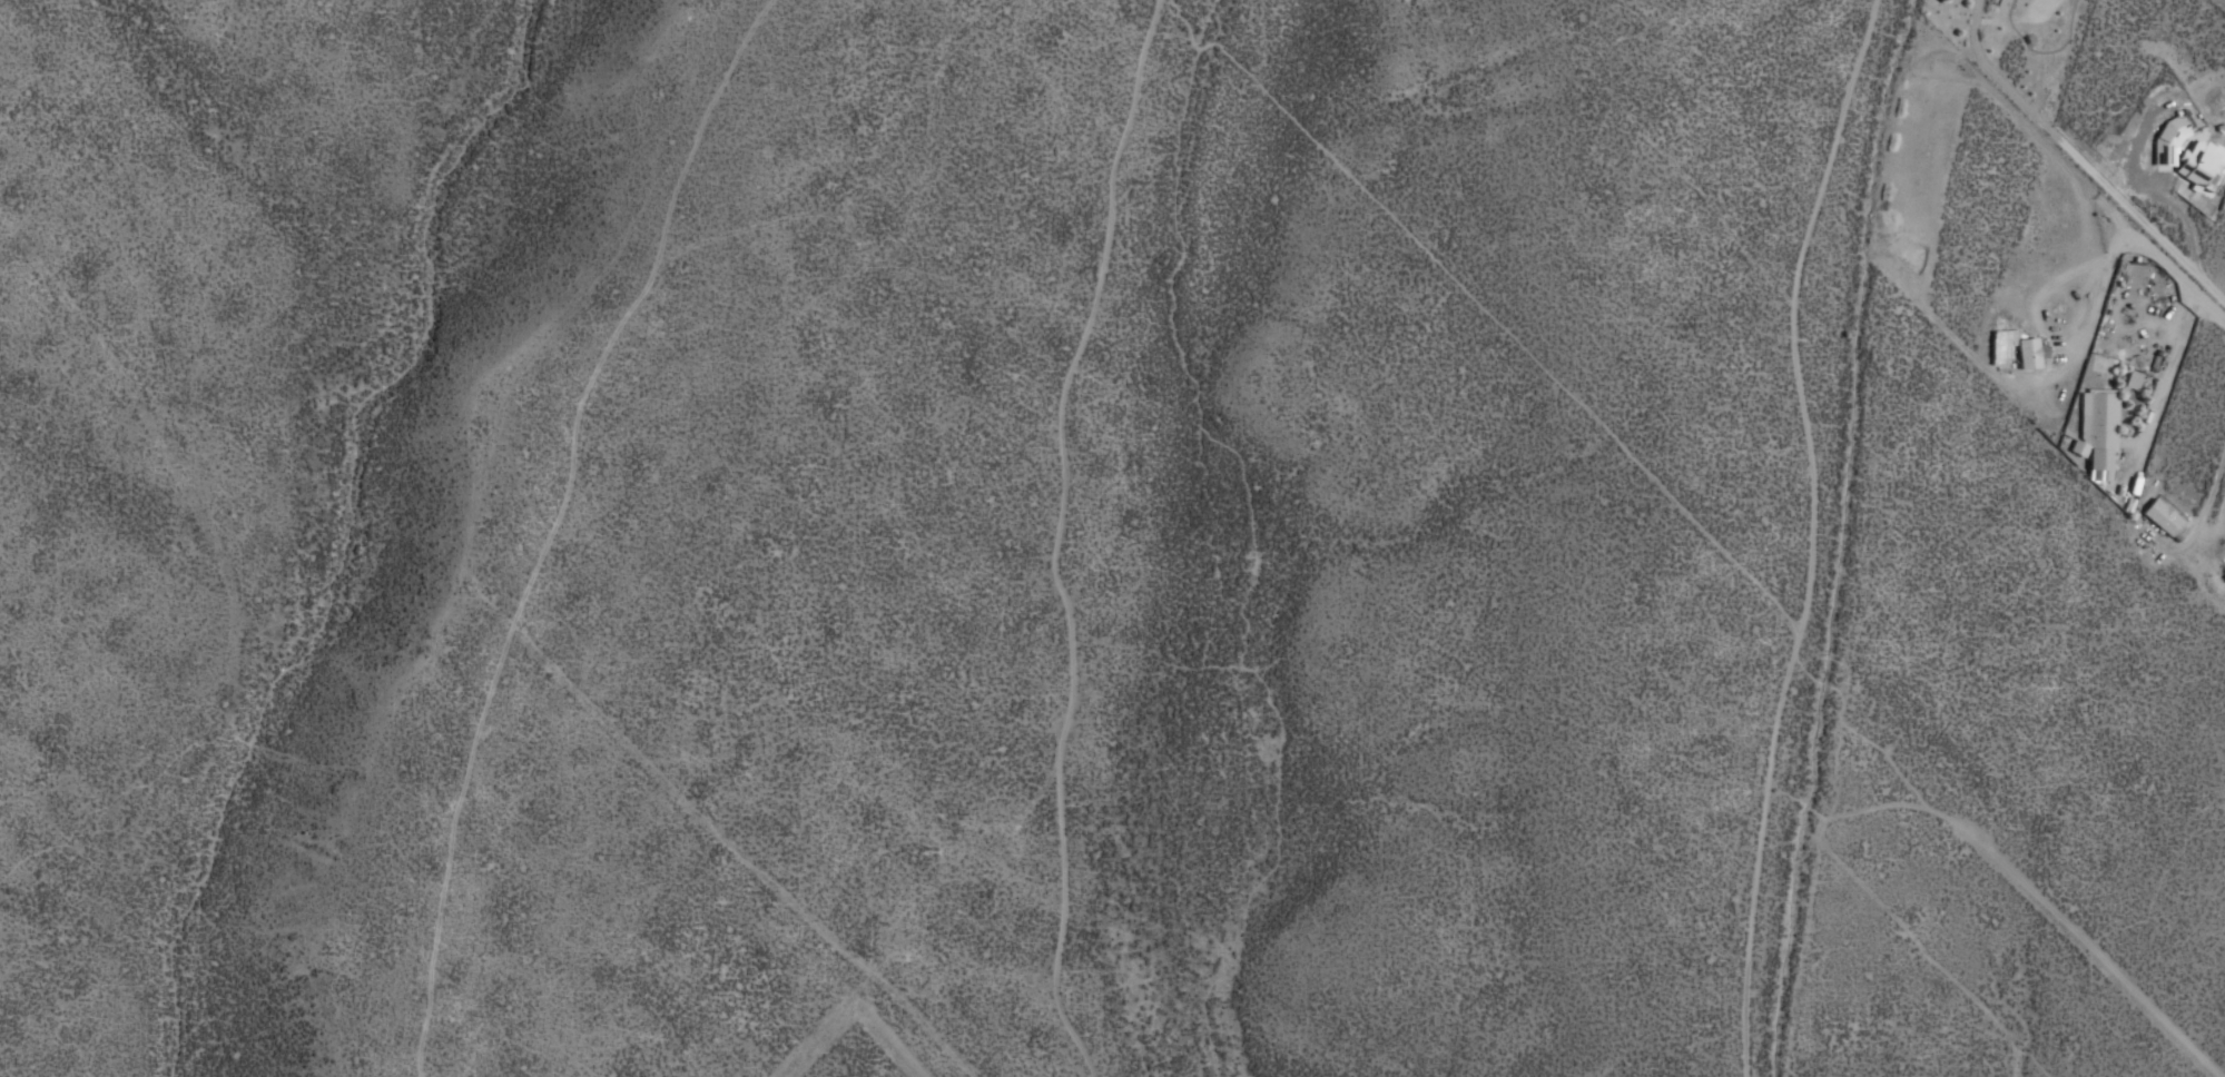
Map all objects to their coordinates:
building: (1939, 1)
building: (2187, 155)
road: (2099, 172)
building: (2028, 353)
building: (2094, 434)
building: (2159, 517)
building: (2223, 564)

